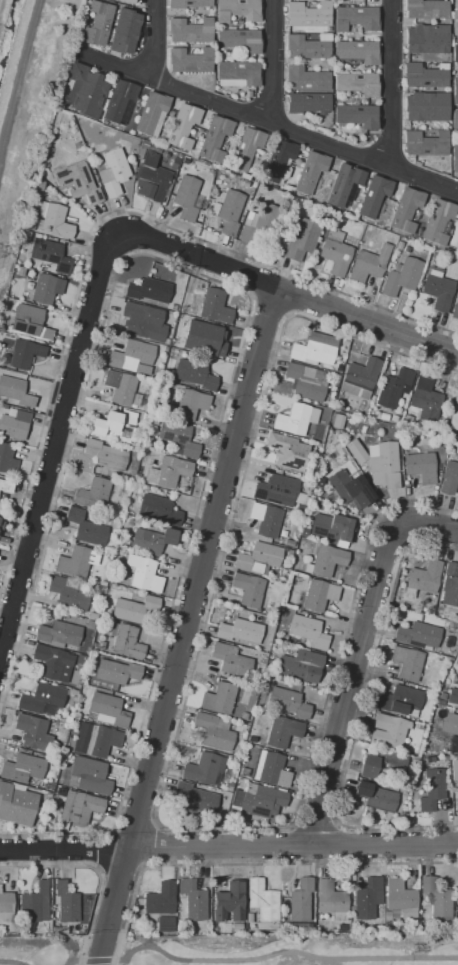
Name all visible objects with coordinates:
building: (358, 0)
building: (129, 1)
building: (190, 3)
building: (312, 5)
building: (425, 9)
building: (238, 11)
building: (308, 14)
building: (356, 19)
building: (97, 23)
building: (455, 23)
building: (329, 29)
building: (191, 30)
building: (125, 31)
road: (153, 39)
building: (426, 39)
building: (239, 41)
building: (308, 46)
building: (357, 51)
building: (455, 53)
building: (190, 60)
road: (271, 61)
building: (341, 63)
road: (17, 73)
building: (237, 73)
building: (424, 75)
building: (305, 79)
building: (357, 83)
road: (388, 83)
building: (85, 91)
building: (455, 91)
building: (346, 93)
building: (249, 94)
building: (120, 102)
building: (308, 102)
building: (426, 106)
building: (133, 108)
building: (151, 114)
building: (357, 116)
building: (454, 120)
road: (270, 122)
building: (183, 126)
building: (215, 138)
building: (426, 142)
building: (245, 149)
building: (276, 158)
building: (455, 158)
building: (308, 170)
building: (113, 172)
building: (152, 179)
building: (78, 183)
building: (245, 184)
building: (40, 185)
building: (343, 187)
building: (359, 196)
building: (373, 196)
building: (46, 197)
building: (187, 197)
building: (41, 209)
building: (406, 209)
building: (228, 212)
building: (421, 216)
road: (99, 218)
building: (438, 221)
building: (55, 222)
building: (255, 223)
building: (39, 225)
building: (30, 227)
building: (27, 234)
building: (302, 239)
building: (20, 246)
building: (457, 247)
building: (407, 249)
building: (336, 253)
building: (50, 257)
road: (200, 257)
building: (368, 264)
building: (21, 271)
building: (401, 277)
building: (28, 286)
building: (46, 289)
building: (149, 290)
building: (438, 290)
building: (186, 298)
building: (8, 303)
building: (215, 306)
building: (173, 308)
building: (181, 310)
building: (454, 312)
road: (365, 319)
building: (143, 321)
building: (30, 322)
building: (204, 338)
building: (166, 341)
building: (164, 349)
building: (314, 350)
building: (22, 356)
building: (131, 358)
building: (195, 374)
building: (360, 377)
building: (309, 382)
building: (120, 388)
building: (393, 388)
building: (15, 393)
building: (424, 397)
building: (190, 403)
building: (144, 416)
building: (384, 416)
building: (454, 417)
building: (296, 419)
building: (394, 419)
building: (408, 419)
building: (153, 420)
building: (336, 421)
building: (14, 424)
building: (114, 426)
building: (178, 437)
building: (330, 440)
road: (54, 441)
building: (287, 451)
building: (441, 452)
building: (105, 455)
building: (7, 459)
building: (378, 462)
building: (420, 467)
building: (171, 474)
building: (137, 477)
building: (448, 477)
building: (350, 485)
building: (144, 487)
building: (12, 490)
building: (276, 490)
building: (93, 494)
building: (301, 499)
building: (300, 508)
building: (159, 509)
building: (266, 519)
building: (129, 522)
building: (333, 527)
building: (85, 528)
building: (152, 541)
building: (289, 553)
building: (259, 557)
building: (328, 560)
building: (75, 562)
building: (307, 568)
building: (142, 573)
building: (425, 577)
building: (450, 586)
building: (248, 590)
building: (68, 594)
building: (320, 595)
building: (134, 609)
building: (92, 617)
road: (187, 626)
building: (457, 627)
building: (308, 631)
building: (239, 632)
building: (418, 634)
building: (457, 634)
building: (58, 635)
building: (82, 641)
building: (124, 641)
building: (93, 644)
building: (100, 646)
road: (359, 652)
building: (80, 659)
building: (231, 660)
building: (53, 663)
building: (408, 663)
building: (79, 666)
building: (301, 666)
building: (116, 672)
building: (452, 684)
building: (299, 688)
building: (73, 693)
building: (239, 696)
building: (218, 698)
building: (455, 698)
building: (42, 699)
building: (400, 700)
building: (289, 703)
building: (441, 703)
building: (449, 705)
building: (107, 709)
building: (244, 716)
building: (450, 724)
building: (245, 728)
building: (214, 731)
building: (389, 731)
building: (32, 732)
building: (282, 732)
building: (251, 739)
building: (95, 740)
building: (444, 759)
building: (368, 766)
building: (22, 768)
building: (205, 768)
building: (454, 769)
building: (270, 770)
building: (244, 772)
building: (86, 775)
building: (32, 782)
building: (229, 786)
building: (362, 788)
building: (430, 788)
building: (60, 792)
building: (48, 795)
building: (198, 797)
building: (457, 798)
building: (257, 799)
building: (47, 800)
building: (382, 800)
building: (16, 804)
building: (79, 807)
building: (37, 811)
building: (192, 815)
building: (36, 822)
road: (294, 845)
road: (65, 848)
road: (69, 866)
building: (456, 897)
building: (368, 898)
building: (400, 898)
building: (161, 899)
building: (193, 899)
building: (437, 899)
building: (332, 900)
building: (262, 901)
building: (297, 901)
building: (35, 903)
building: (228, 903)
building: (7, 905)
building: (69, 909)
building: (387, 916)
building: (395, 916)
building: (249, 918)
building: (165, 924)
building: (236, 926)
building: (299, 926)
building: (375, 928)
building: (242, 931)
park: (292, 949)
park: (38, 950)
road: (257, 958)
road: (11, 961)

